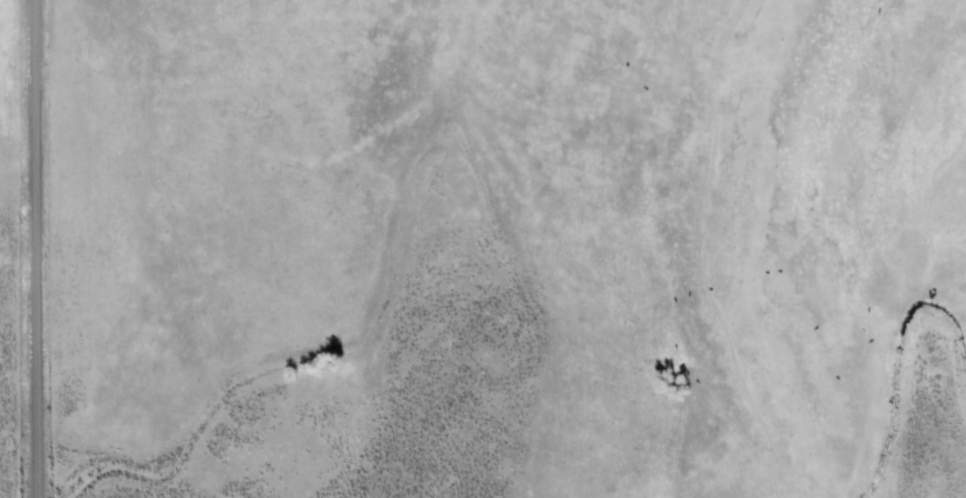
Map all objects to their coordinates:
road: (35, 249)

